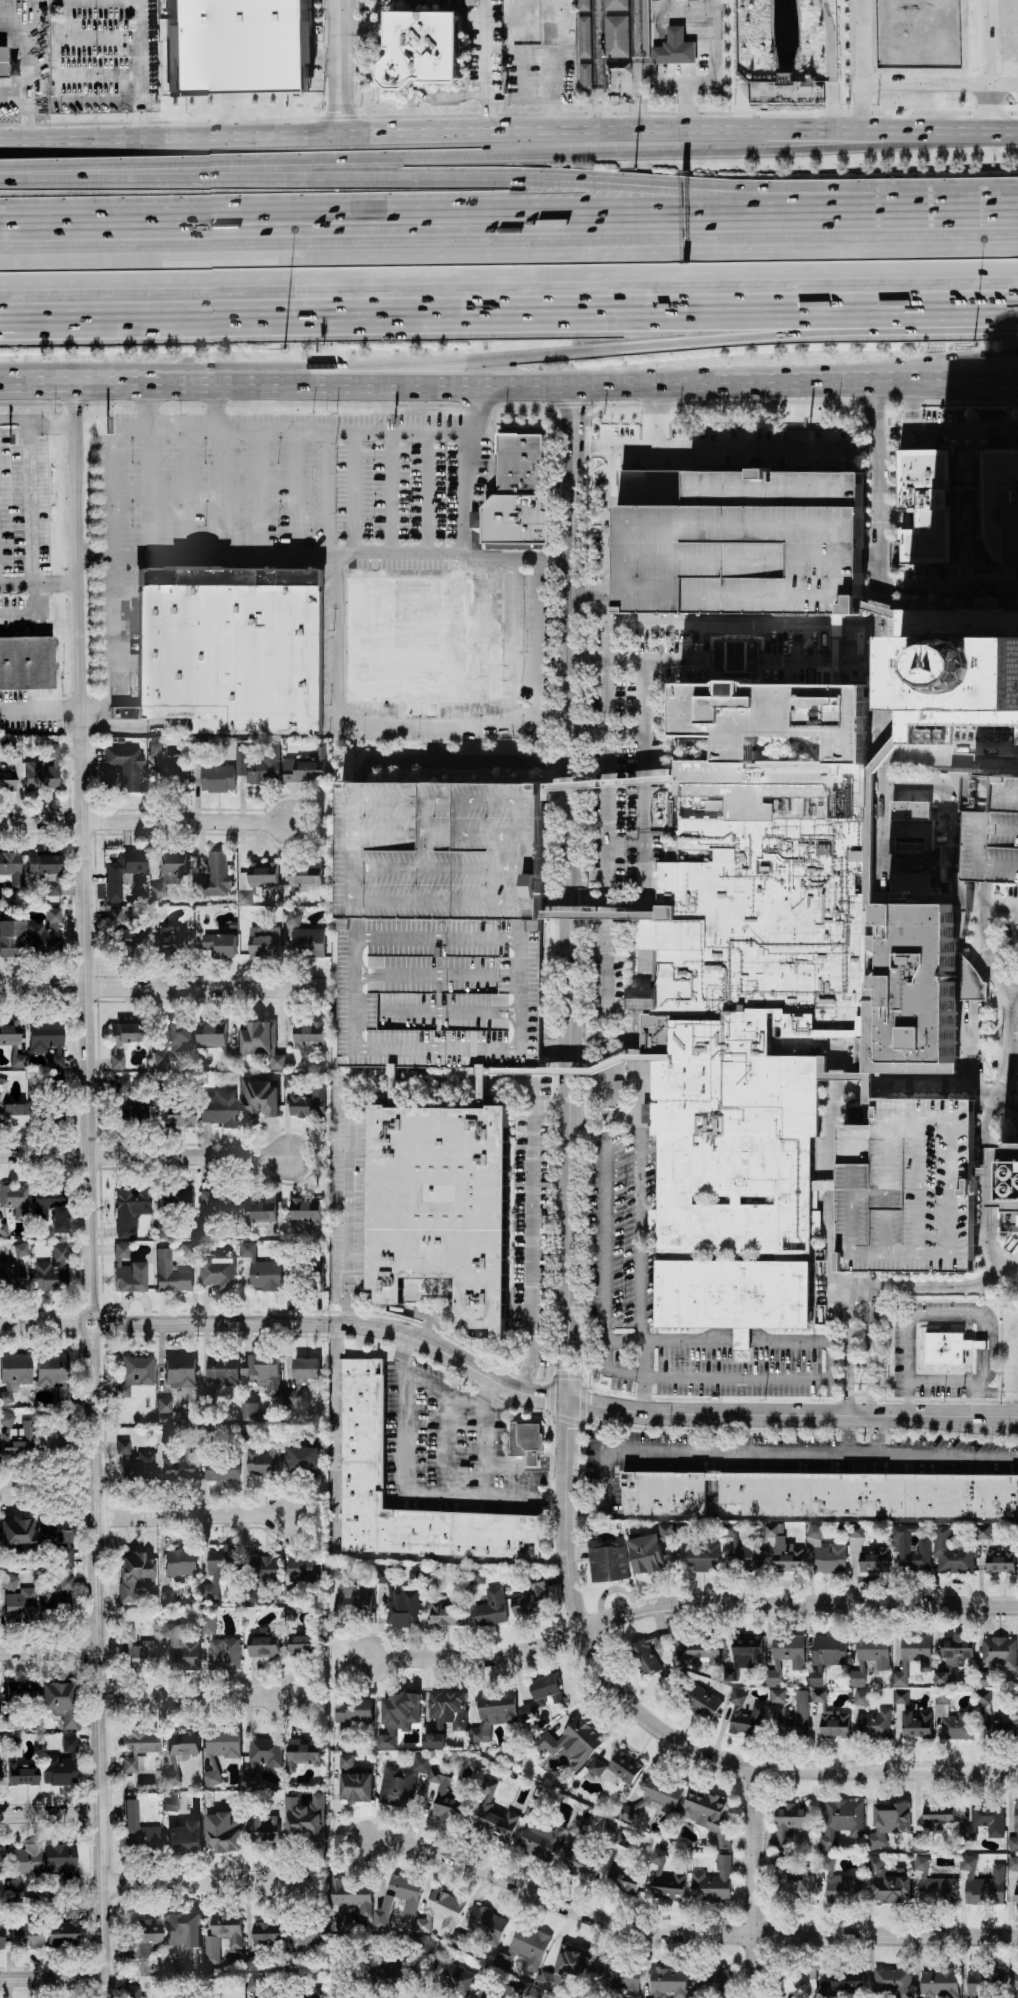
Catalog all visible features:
road: (366, 24)
building: (617, 37)
road: (95, 39)
road: (986, 42)
building: (584, 45)
road: (862, 46)
building: (419, 48)
building: (674, 48)
building: (270, 50)
building: (3, 60)
road: (731, 60)
road: (838, 60)
road: (485, 65)
road: (341, 67)
road: (138, 68)
road: (29, 70)
road: (95, 77)
road: (551, 79)
road: (698, 83)
road: (907, 83)
road: (1002, 83)
building: (806, 88)
road: (238, 90)
road: (15, 100)
road: (987, 105)
road: (251, 113)
road: (552, 120)
road: (508, 130)
road: (494, 158)
road: (120, 178)
road: (611, 183)
road: (999, 209)
road: (547, 215)
road: (57, 216)
road: (57, 221)
road: (509, 255)
road: (509, 276)
road: (508, 314)
road: (618, 347)
road: (109, 379)
road: (999, 383)
road: (396, 384)
road: (776, 385)
road: (873, 400)
road: (766, 401)
road: (896, 401)
road: (912, 401)
road: (969, 404)
road: (912, 405)
road: (899, 413)
road: (39, 422)
road: (961, 427)
road: (894, 429)
road: (890, 430)
road: (295, 433)
road: (967, 434)
road: (642, 446)
road: (776, 447)
road: (868, 448)
road: (149, 466)
road: (470, 469)
road: (891, 470)
road: (614, 489)
road: (115, 491)
road: (186, 491)
road: (222, 492)
road: (262, 492)
road: (298, 493)
road: (326, 493)
road: (355, 493)
road: (393, 493)
road: (429, 493)
building: (521, 496)
building: (999, 498)
building: (928, 508)
road: (967, 509)
road: (891, 519)
road: (897, 519)
building: (1014, 527)
parking garage: (1014, 527)
road: (38, 539)
building: (747, 548)
parking garage: (747, 548)
road: (326, 551)
road: (891, 553)
road: (872, 564)
road: (993, 565)
road: (924, 568)
road: (962, 568)
road: (985, 575)
road: (39, 579)
road: (891, 587)
road: (989, 590)
road: (948, 592)
road: (590, 593)
road: (954, 605)
road: (721, 625)
building: (840, 625)
road: (839, 626)
road: (862, 627)
road: (880, 629)
building: (424, 641)
road: (114, 643)
building: (231, 649)
road: (683, 661)
road: (862, 661)
road: (739, 662)
road: (798, 662)
road: (839, 662)
building: (24, 664)
building: (956, 670)
road: (40, 710)
road: (425, 726)
building: (1015, 736)
building: (930, 737)
road: (649, 742)
building: (155, 749)
road: (949, 761)
building: (260, 764)
building: (122, 768)
road: (986, 768)
building: (166, 769)
building: (304, 769)
building: (43, 771)
road: (1009, 772)
road: (608, 775)
building: (7, 779)
building: (218, 779)
road: (146, 821)
road: (984, 827)
building: (994, 828)
parking garage: (994, 828)
building: (443, 846)
parking garage: (443, 846)
building: (11, 868)
building: (46, 870)
building: (123, 871)
building: (169, 871)
building: (306, 875)
building: (216, 877)
building: (257, 880)
road: (648, 889)
road: (570, 893)
road: (998, 906)
road: (1016, 907)
building: (293, 918)
road: (1016, 918)
road: (647, 930)
building: (121, 931)
building: (45, 934)
building: (10, 935)
road: (979, 939)
building: (171, 941)
building: (207, 942)
building: (265, 942)
building: (309, 943)
building: (226, 946)
road: (984, 956)
road: (991, 957)
road: (1006, 971)
building: (917, 977)
building: (972, 980)
road: (972, 983)
road: (163, 988)
road: (1010, 988)
building: (442, 990)
parking garage: (442, 990)
building: (754, 992)
road: (1015, 1013)
road: (636, 1028)
flagpole: (1002, 1028)
building: (9, 1032)
building: (309, 1034)
building: (212, 1035)
flagpole: (1002, 1035)
building: (177, 1036)
building: (47, 1039)
road: (1005, 1039)
building: (122, 1040)
building: (261, 1043)
flagpole: (1002, 1043)
road: (973, 1056)
building: (160, 1057)
building: (231, 1059)
road: (1005, 1077)
road: (1014, 1084)
building: (3, 1085)
road: (1005, 1085)
road: (347, 1087)
road: (906, 1088)
road: (983, 1090)
building: (305, 1098)
building: (143, 1099)
building: (258, 1101)
road: (1012, 1103)
road: (1007, 1105)
road: (979, 1106)
building: (219, 1107)
road: (980, 1110)
road: (993, 1112)
building: (14, 1114)
road: (835, 1114)
road: (605, 1119)
building: (178, 1120)
road: (983, 1121)
road: (1008, 1127)
park: (1008, 1132)
fountain: (1010, 1135)
road: (1004, 1137)
road: (1011, 1138)
road: (144, 1155)
building: (1010, 1178)
road: (995, 1182)
building: (911, 1186)
parking garage: (911, 1186)
road: (92, 1188)
building: (177, 1198)
building: (15, 1199)
building: (51, 1207)
building: (239, 1207)
building: (443, 1208)
building: (130, 1209)
building: (306, 1211)
building: (1009, 1220)
building: (655, 1221)
building: (3, 1229)
road: (642, 1234)
road: (1009, 1243)
building: (189, 1247)
building: (21, 1249)
road: (531, 1250)
road: (606, 1255)
road: (992, 1255)
road: (981, 1264)
building: (52, 1270)
building: (127, 1270)
building: (262, 1271)
building: (218, 1272)
building: (170, 1273)
building: (10, 1278)
road: (882, 1289)
road: (1006, 1290)
road: (47, 1321)
road: (338, 1325)
road: (968, 1327)
road: (981, 1327)
road: (991, 1333)
road: (742, 1339)
road: (904, 1342)
road: (917, 1348)
building: (949, 1348)
road: (891, 1356)
road: (645, 1359)
road: (909, 1362)
road: (980, 1365)
building: (307, 1368)
road: (969, 1369)
building: (223, 1370)
building: (180, 1371)
road: (333, 1371)
road: (609, 1371)
building: (14, 1372)
building: (134, 1372)
road: (849, 1373)
road: (872, 1373)
building: (53, 1374)
road: (780, 1378)
building: (292, 1398)
road: (909, 1399)
road: (975, 1399)
road: (849, 1400)
road: (860, 1400)
road: (872, 1400)
road: (891, 1400)
road: (908, 1400)
road: (940, 1400)
road: (975, 1401)
road: (1002, 1401)
building: (164, 1405)
building: (250, 1412)
road: (791, 1415)
building: (6, 1418)
road: (447, 1422)
building: (364, 1435)
road: (483, 1436)
building: (16, 1439)
building: (527, 1442)
road: (720, 1454)
road: (947, 1457)
building: (265, 1460)
building: (304, 1460)
building: (135, 1463)
building: (181, 1465)
building: (222, 1470)
road: (49, 1490)
road: (406, 1492)
building: (819, 1495)
road: (606, 1501)
road: (193, 1515)
building: (983, 1532)
building: (16, 1534)
building: (58, 1537)
building: (856, 1541)
building: (911, 1549)
building: (650, 1550)
building: (741, 1550)
building: (782, 1552)
building: (826, 1553)
building: (952, 1553)
building: (703, 1557)
building: (180, 1561)
building: (608, 1561)
building: (875, 1561)
building: (1001, 1562)
building: (223, 1568)
building: (305, 1569)
building: (266, 1570)
building: (134, 1573)
building: (383, 1576)
building: (431, 1578)
building: (8, 1580)
building: (65, 1582)
building: (166, 1596)
building: (353, 1597)
building: (54, 1599)
building: (530, 1601)
road: (687, 1602)
building: (20, 1605)
building: (403, 1608)
building: (492, 1608)
building: (445, 1615)
building: (208, 1624)
road: (582, 1631)
building: (264, 1643)
building: (303, 1646)
building: (748, 1647)
building: (180, 1649)
road: (50, 1650)
building: (957, 1650)
building: (137, 1651)
building: (699, 1651)
building: (648, 1653)
building: (224, 1654)
building: (786, 1656)
building: (827, 1656)
building: (870, 1657)
building: (912, 1657)
building: (997, 1657)
building: (942, 1679)
building: (21, 1690)
building: (542, 1695)
building: (778, 1696)
building: (819, 1696)
building: (901, 1697)
building: (861, 1698)
road: (194, 1699)
building: (59, 1701)
building: (706, 1704)
building: (450, 1708)
building: (355, 1711)
building: (493, 1713)
building: (782, 1713)
building: (987, 1714)
building: (745, 1716)
building: (953, 1718)
building: (834, 1723)
building: (917, 1724)
building: (875, 1725)
building: (140, 1741)
building: (434, 1741)
building: (11, 1743)
building: (574, 1743)
building: (179, 1750)
building: (221, 1750)
building: (267, 1752)
building: (303, 1754)
building: (129, 1763)
building: (61, 1764)
building: (617, 1769)
road: (888, 1770)
building: (355, 1782)
building: (401, 1783)
building: (660, 1794)
building: (445, 1795)
building: (488, 1797)
building: (170, 1803)
road: (52, 1813)
building: (708, 1815)
building: (938, 1815)
building: (989, 1819)
building: (307, 1820)
building: (790, 1821)
building: (842, 1821)
building: (889, 1822)
building: (263, 1828)
building: (578, 1828)
building: (138, 1829)
building: (224, 1832)
building: (1014, 1832)
building: (186, 1838)
building: (623, 1840)
building: (542, 1841)
building: (60, 1857)
building: (0, 1865)
building: (23, 1865)
building: (581, 1865)
building: (796, 1880)
building: (666, 1881)
road: (197, 1882)
building: (620, 1882)
building: (890, 1882)
building: (713, 1883)
road: (758, 1883)
building: (837, 1883)
building: (984, 1884)
building: (1016, 1888)
building: (354, 1896)
building: (411, 1904)
building: (441, 1912)
building: (487, 1926)
building: (63, 1927)
building: (183, 1929)
building: (267, 1932)
building: (25, 1934)
road: (685, 1935)
building: (1, 1936)
building: (223, 1936)
building: (143, 1937)
building: (301, 1947)
building: (567, 1967)
building: (391, 1973)
road: (53, 1977)
building: (621, 1977)
building: (456, 1978)
building: (712, 1980)
building: (848, 1980)
building: (801, 1981)
building: (894, 1981)
building: (1016, 1982)
building: (938, 1983)
building: (978, 1983)
building: (132, 1991)
building: (483, 1994)

